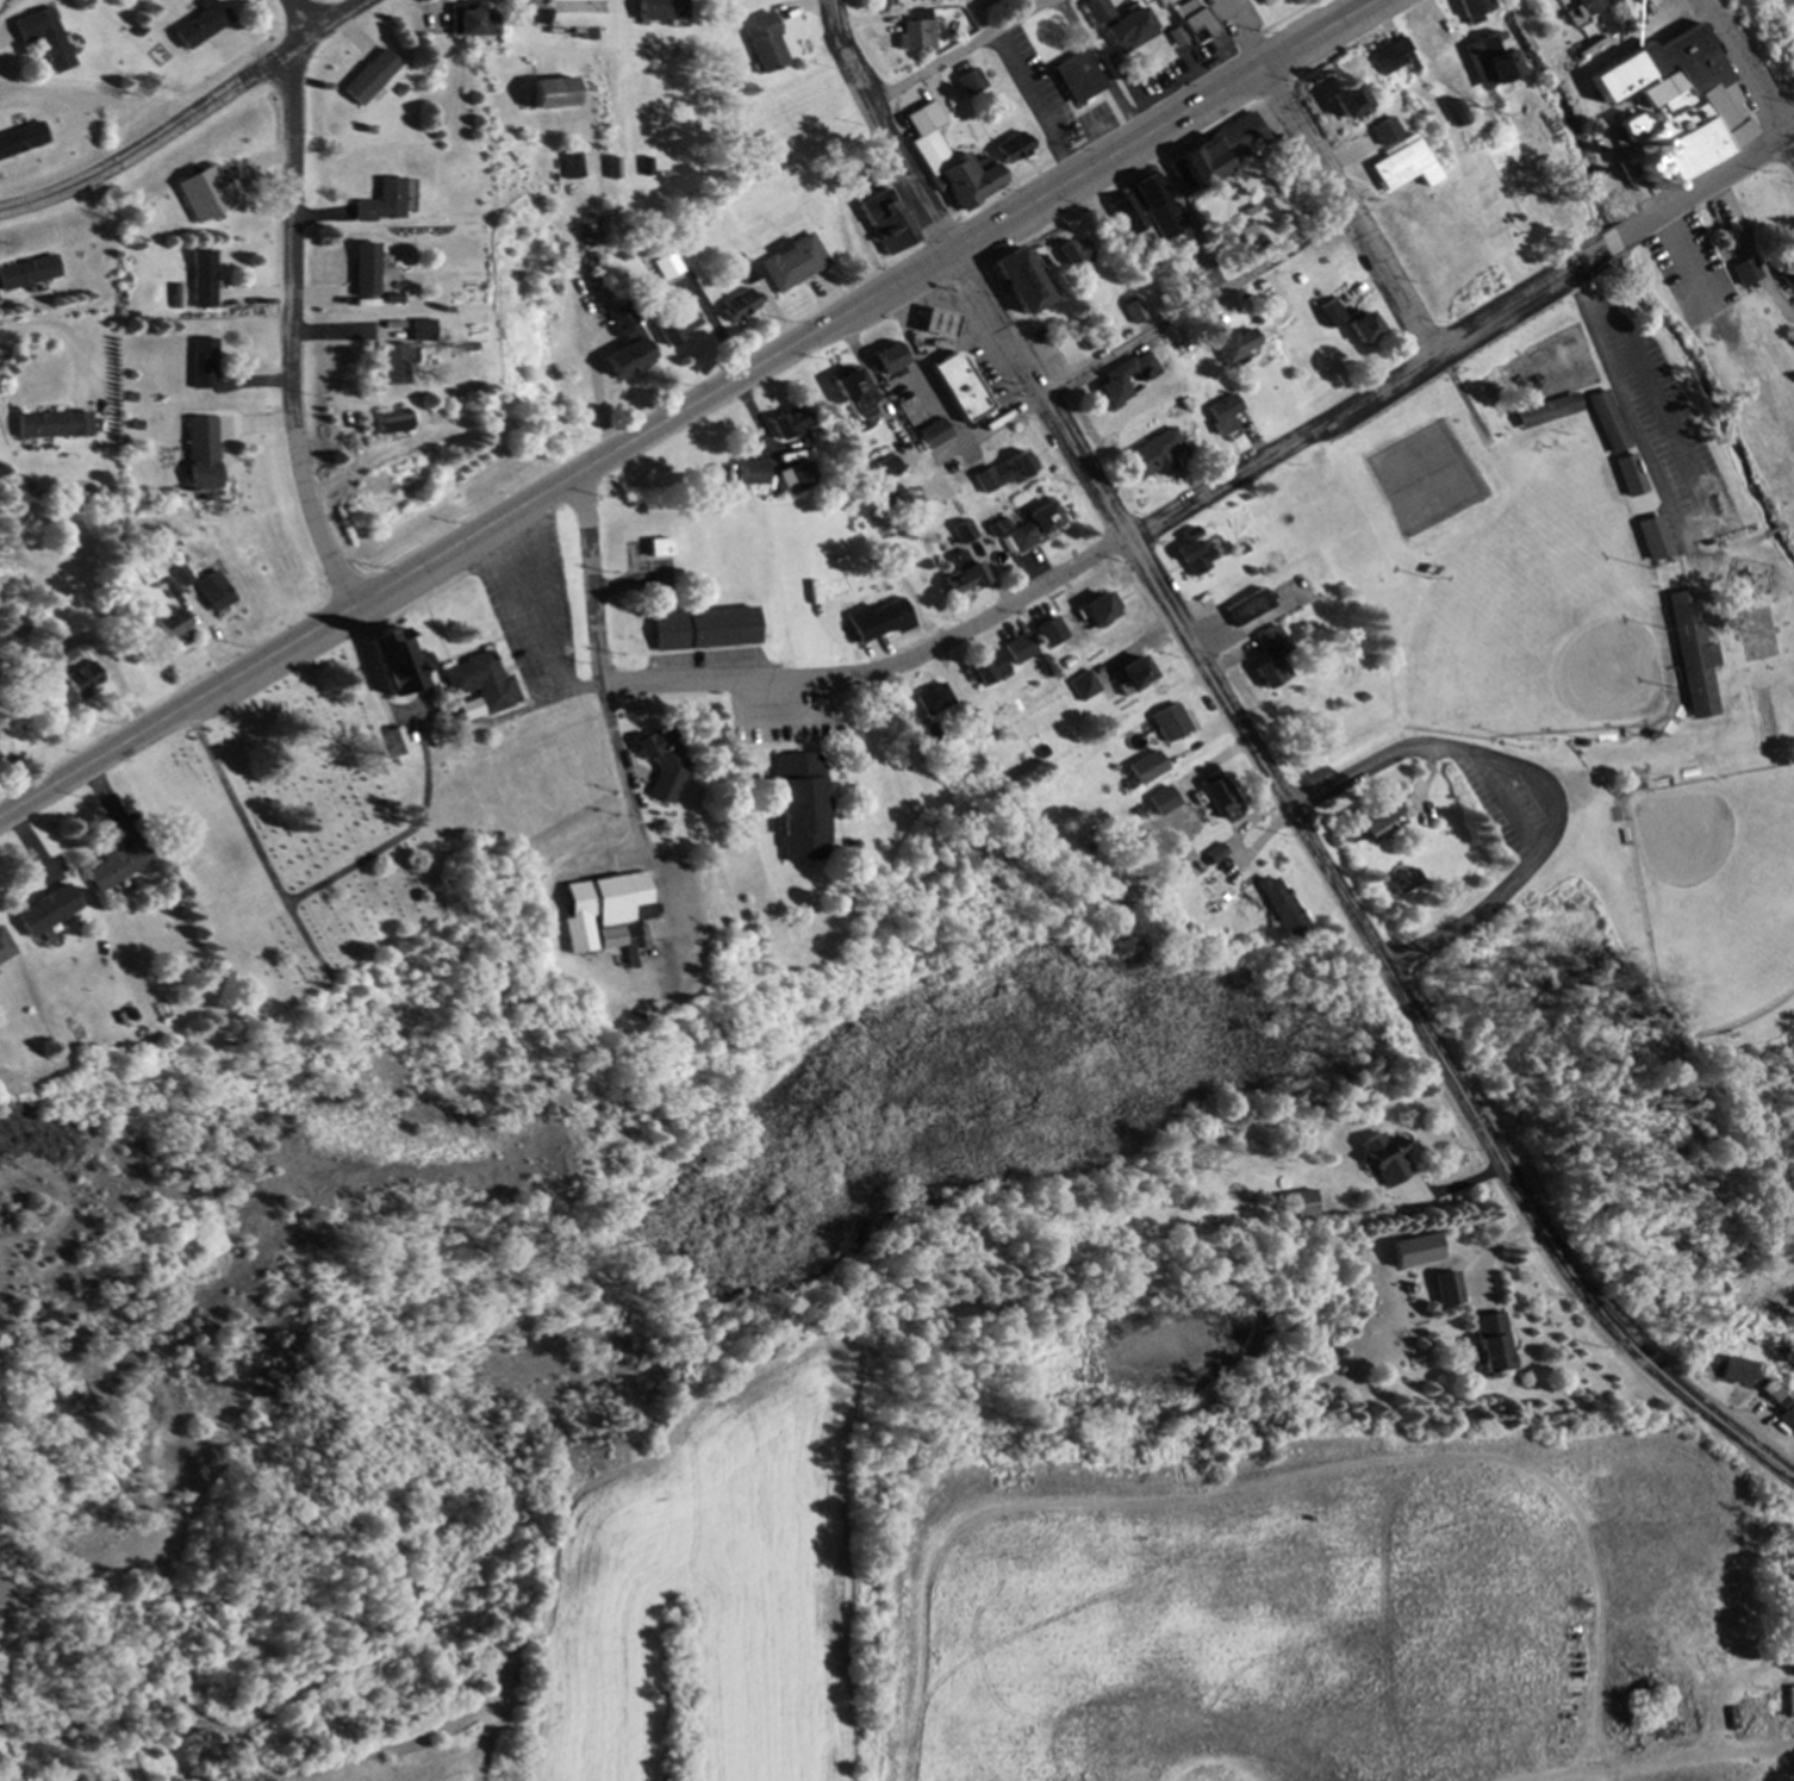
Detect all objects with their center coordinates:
building: (1588, 7)
building: (1659, 8)
road: (1727, 8)
building: (1469, 10)
building: (656, 11)
building: (1098, 12)
building: (568, 13)
building: (1194, 21)
building: (1613, 23)
building: (201, 24)
building: (473, 24)
building: (917, 31)
building: (1128, 32)
building: (44, 38)
building: (1177, 38)
building: (765, 44)
road: (964, 56)
building: (1389, 60)
building: (1488, 61)
road: (1103, 69)
road: (1748, 75)
building: (370, 79)
building: (1078, 79)
building: (971, 83)
building: (550, 95)
building: (1340, 105)
building: (1680, 113)
road: (192, 118)
road: (1165, 125)
road: (883, 131)
building: (1379, 135)
building: (21, 142)
building: (1013, 150)
building: (1221, 154)
building: (952, 164)
building: (1395, 166)
road: (1726, 178)
road: (1328, 180)
building: (205, 195)
building: (384, 204)
building: (1155, 208)
building: (1130, 222)
building: (886, 225)
road: (1640, 231)
building: (1073, 256)
building: (797, 263)
building: (667, 269)
building: (366, 272)
building: (1749, 273)
building: (29, 275)
building: (1788, 280)
building: (203, 281)
building: (1019, 285)
building: (747, 305)
road: (292, 307)
building: (1328, 315)
building: (939, 325)
building: (677, 329)
building: (1362, 331)
building: (422, 332)
road: (1144, 340)
building: (1234, 348)
building: (627, 349)
building: (889, 361)
building: (204, 366)
building: (394, 366)
building: (1121, 382)
building: (959, 388)
building: (855, 398)
building: (1550, 413)
building: (1221, 417)
building: (791, 425)
building: (391, 426)
building: (52, 428)
building: (934, 436)
building: (1614, 440)
building: (203, 454)
building: (1151, 461)
building: (889, 469)
building: (754, 475)
building: (1001, 475)
building: (799, 479)
building: (1033, 529)
road: (475, 535)
road: (1133, 538)
building: (1652, 538)
building: (658, 550)
building: (1198, 556)
building: (961, 575)
building: (216, 592)
park: (1608, 600)
building: (1247, 608)
building: (1098, 611)
building: (879, 621)
building: (172, 625)
building: (1042, 627)
building: (704, 631)
building: (1017, 648)
building: (67, 650)
building: (1692, 655)
building: (1272, 658)
building: (394, 661)
road: (598, 662)
building: (986, 668)
building: (1135, 674)
building: (85, 680)
building: (480, 683)
building: (1084, 686)
building: (934, 703)
building: (1171, 723)
building: (661, 762)
building: (1146, 768)
road: (1541, 781)
building: (1217, 793)
building: (802, 807)
building: (1372, 818)
building: (1216, 854)
building: (117, 867)
building: (1215, 885)
road: (1340, 893)
building: (1281, 907)
building: (611, 908)
building: (48, 913)
building: (5, 948)
building: (1387, 1158)
building: (1301, 1207)
building: (1450, 1290)
building: (1493, 1343)
building: (1737, 1371)
building: (1788, 1418)
building: (1792, 1702)
road: (1655, 1767)

